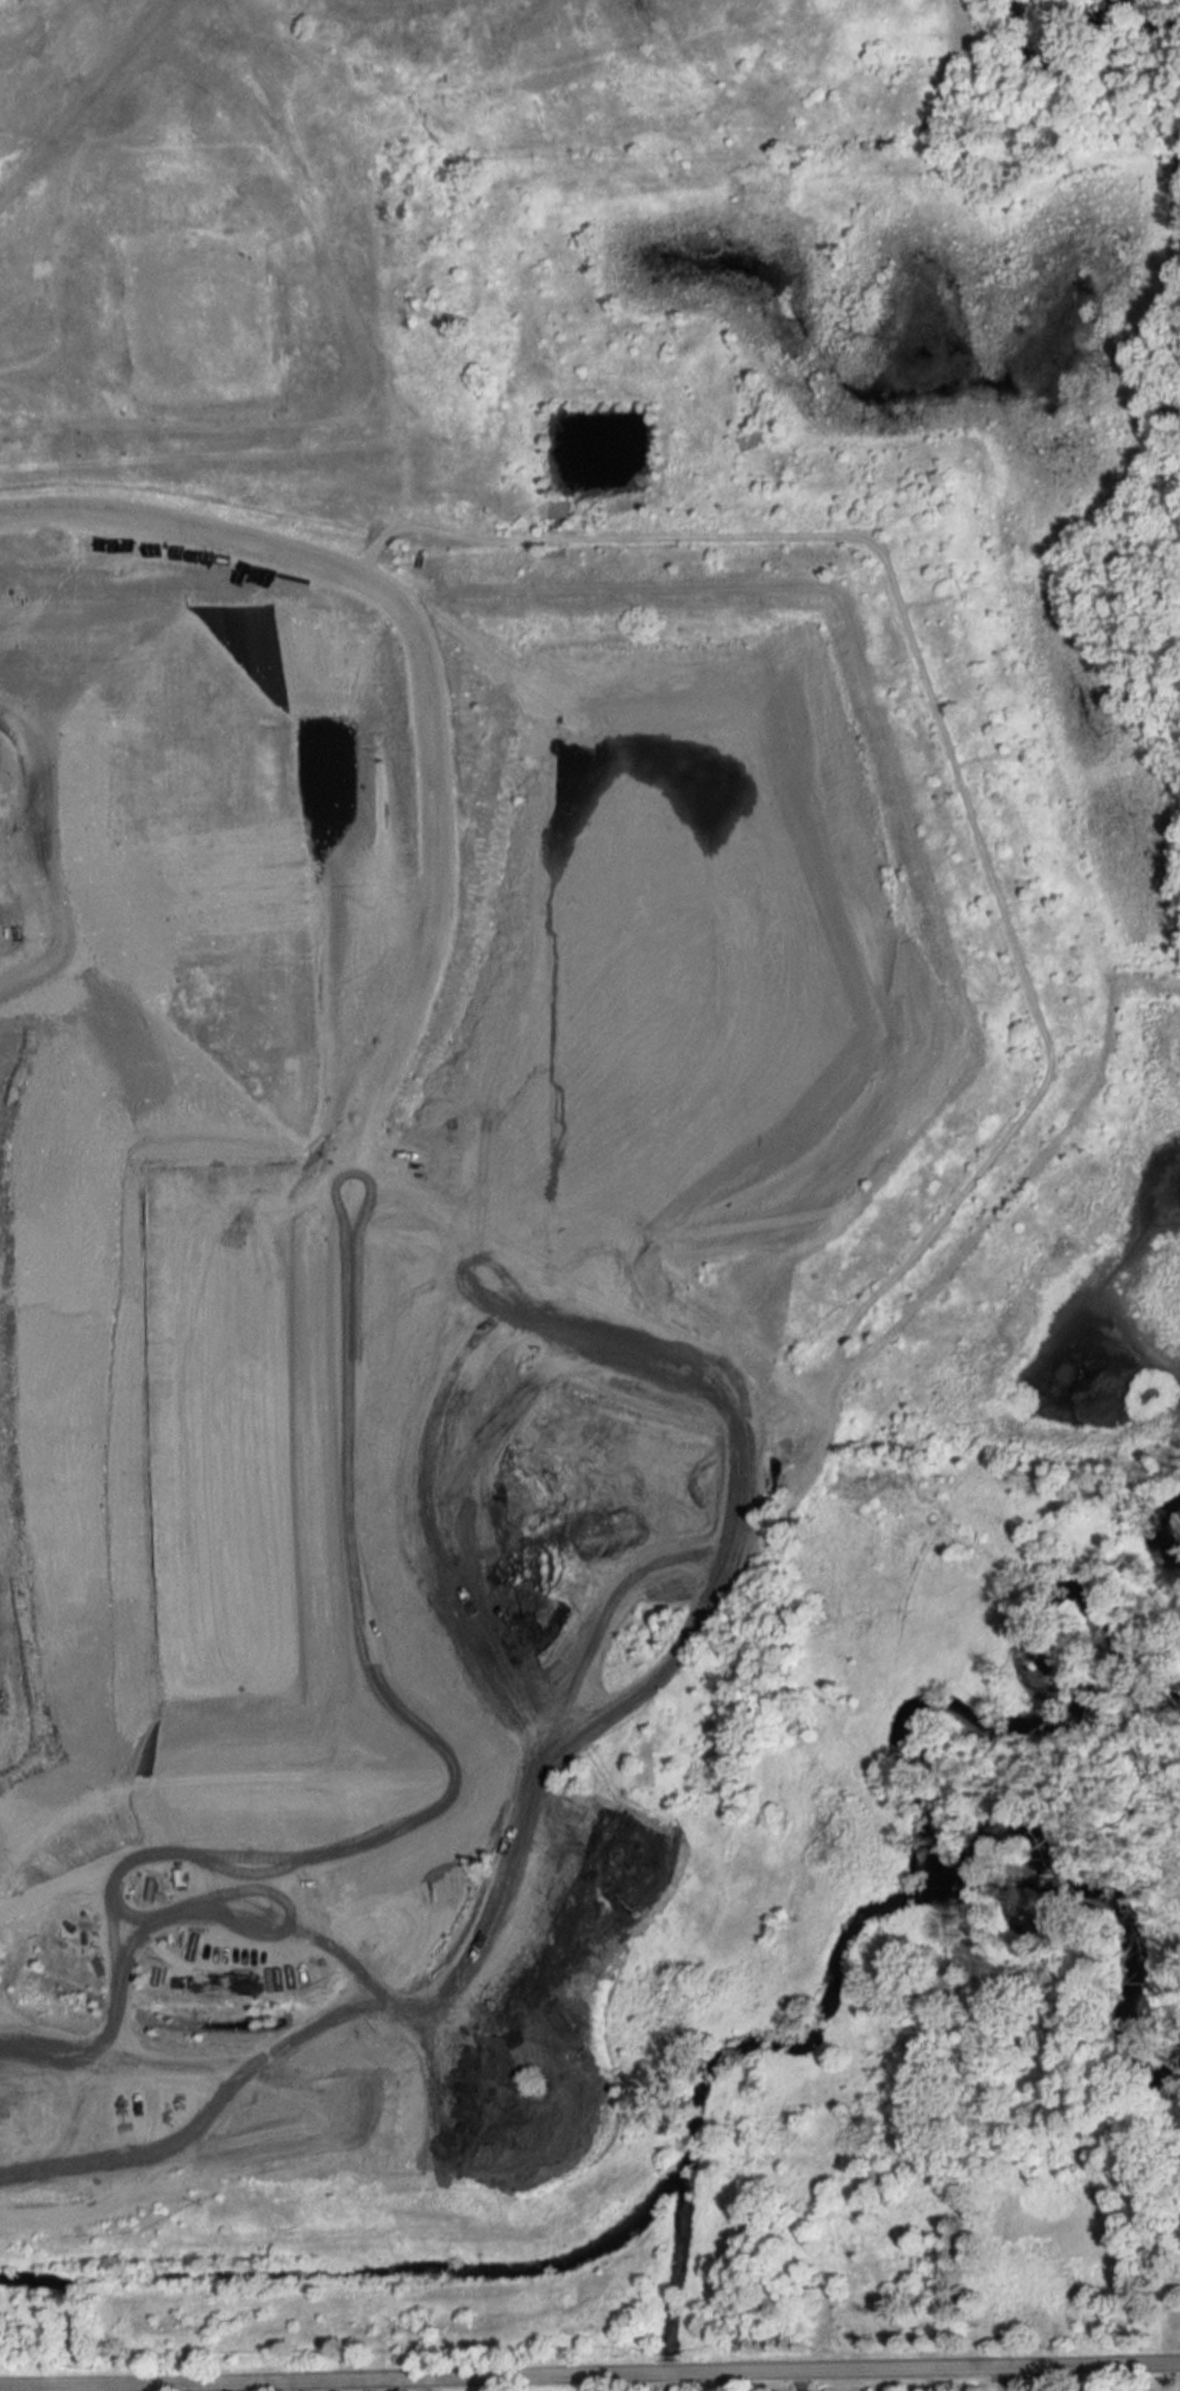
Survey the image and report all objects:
road: (102, 111)
landfill: (563, 1100)
building: (878, 2171)
road: (590, 2374)
road: (1103, 2377)
road: (1004, 2378)
road: (798, 2380)
road: (425, 2385)

